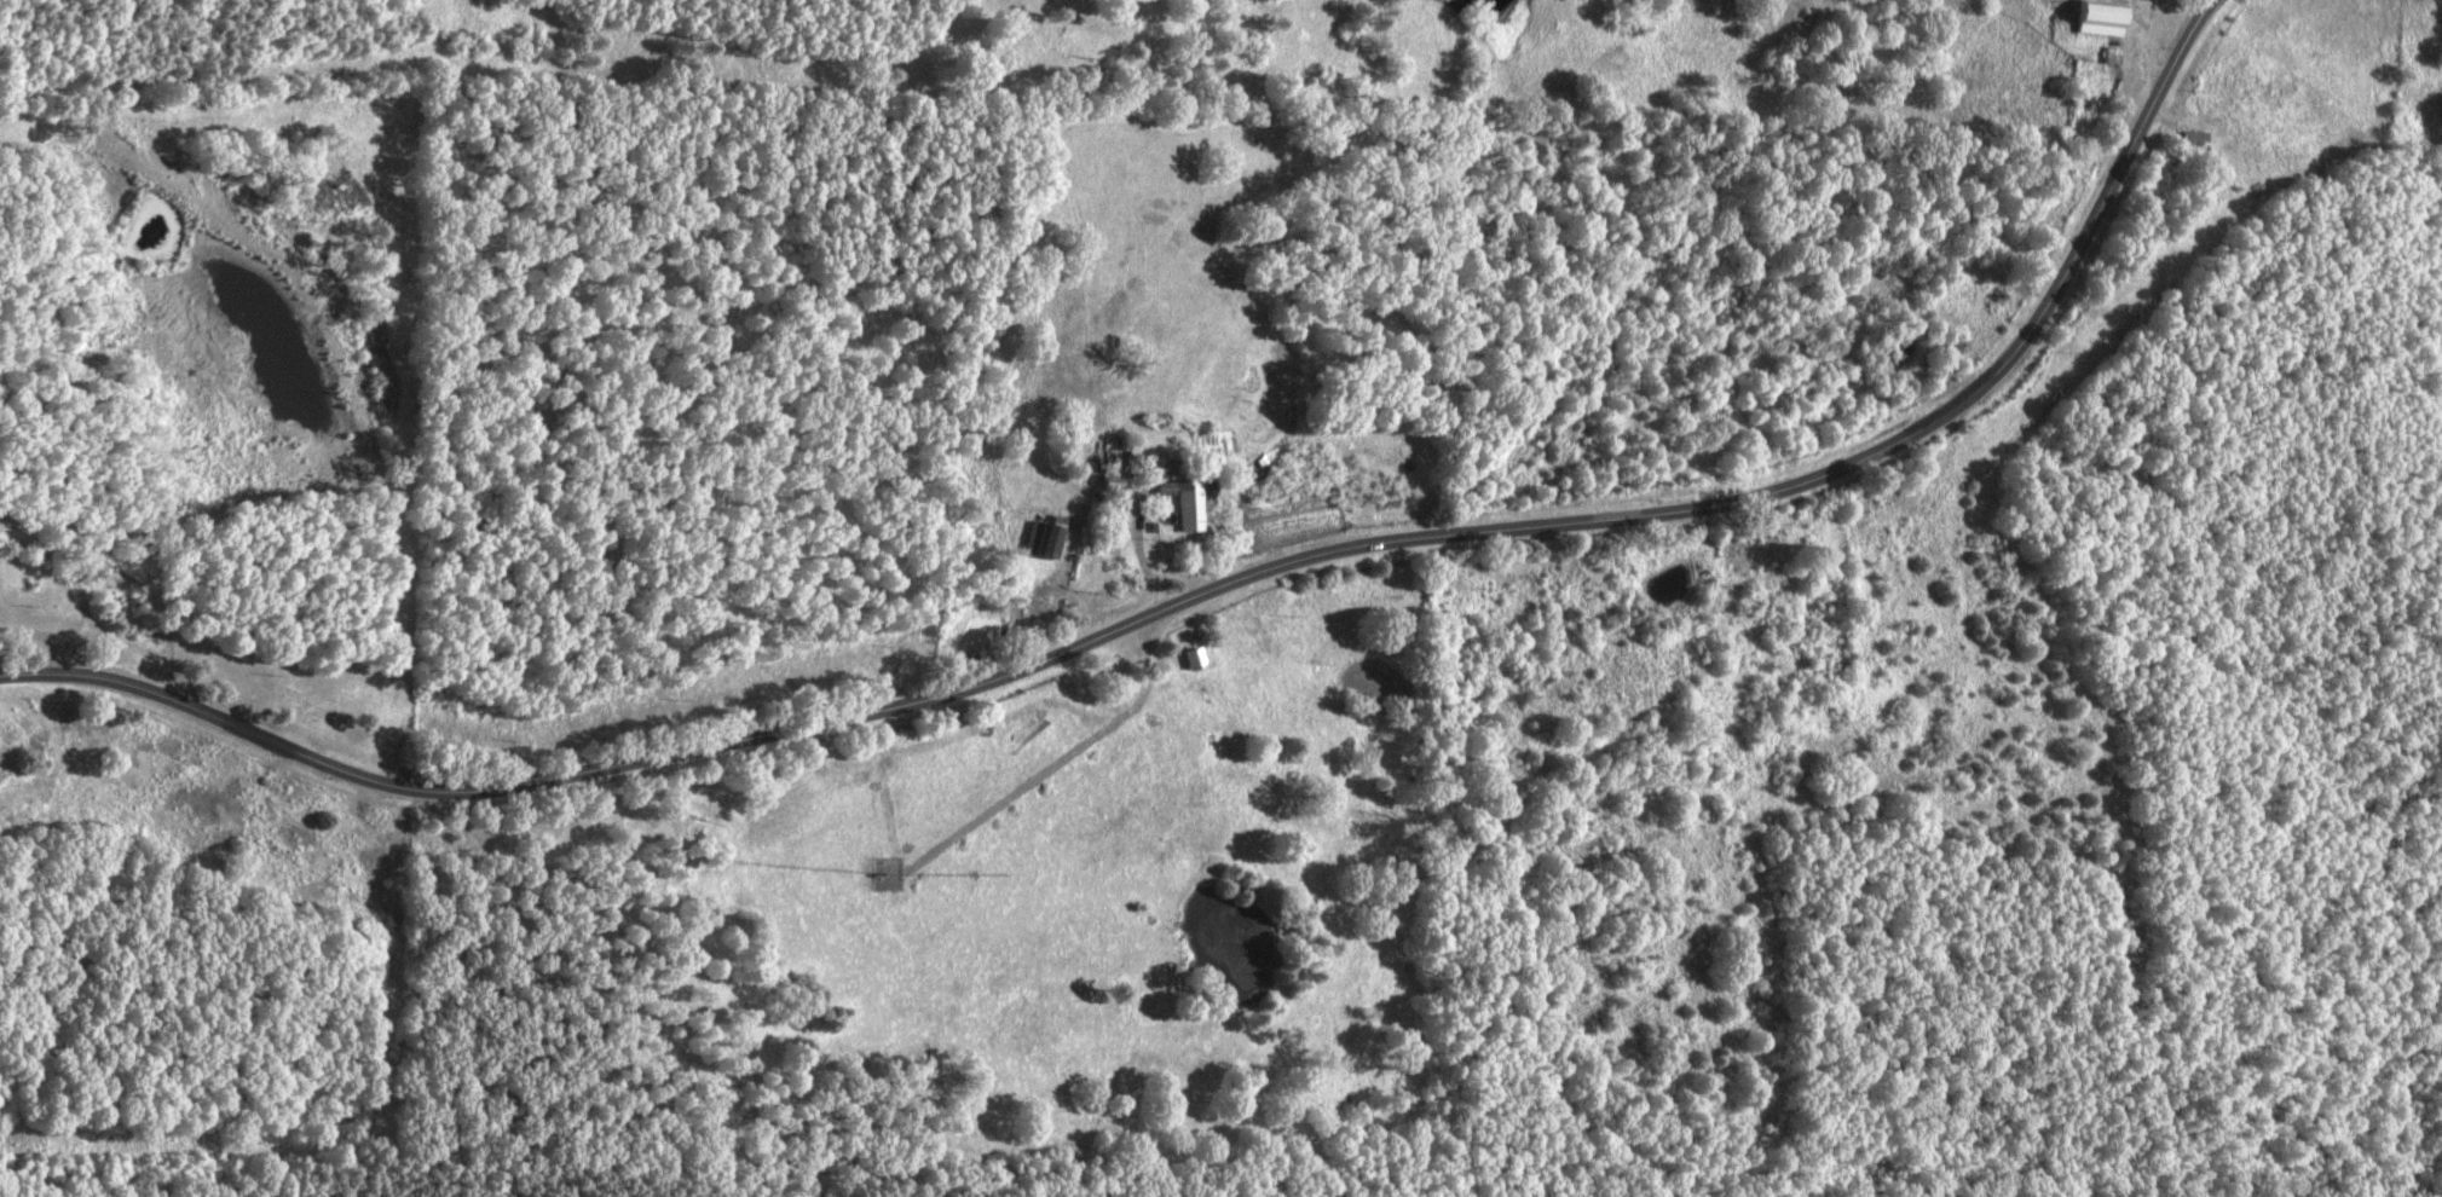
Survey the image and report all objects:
building: (2183, 141)
building: (1662, 253)
building: (1093, 492)
building: (1174, 510)
building: (1029, 548)
road: (1208, 589)
building: (1180, 663)

